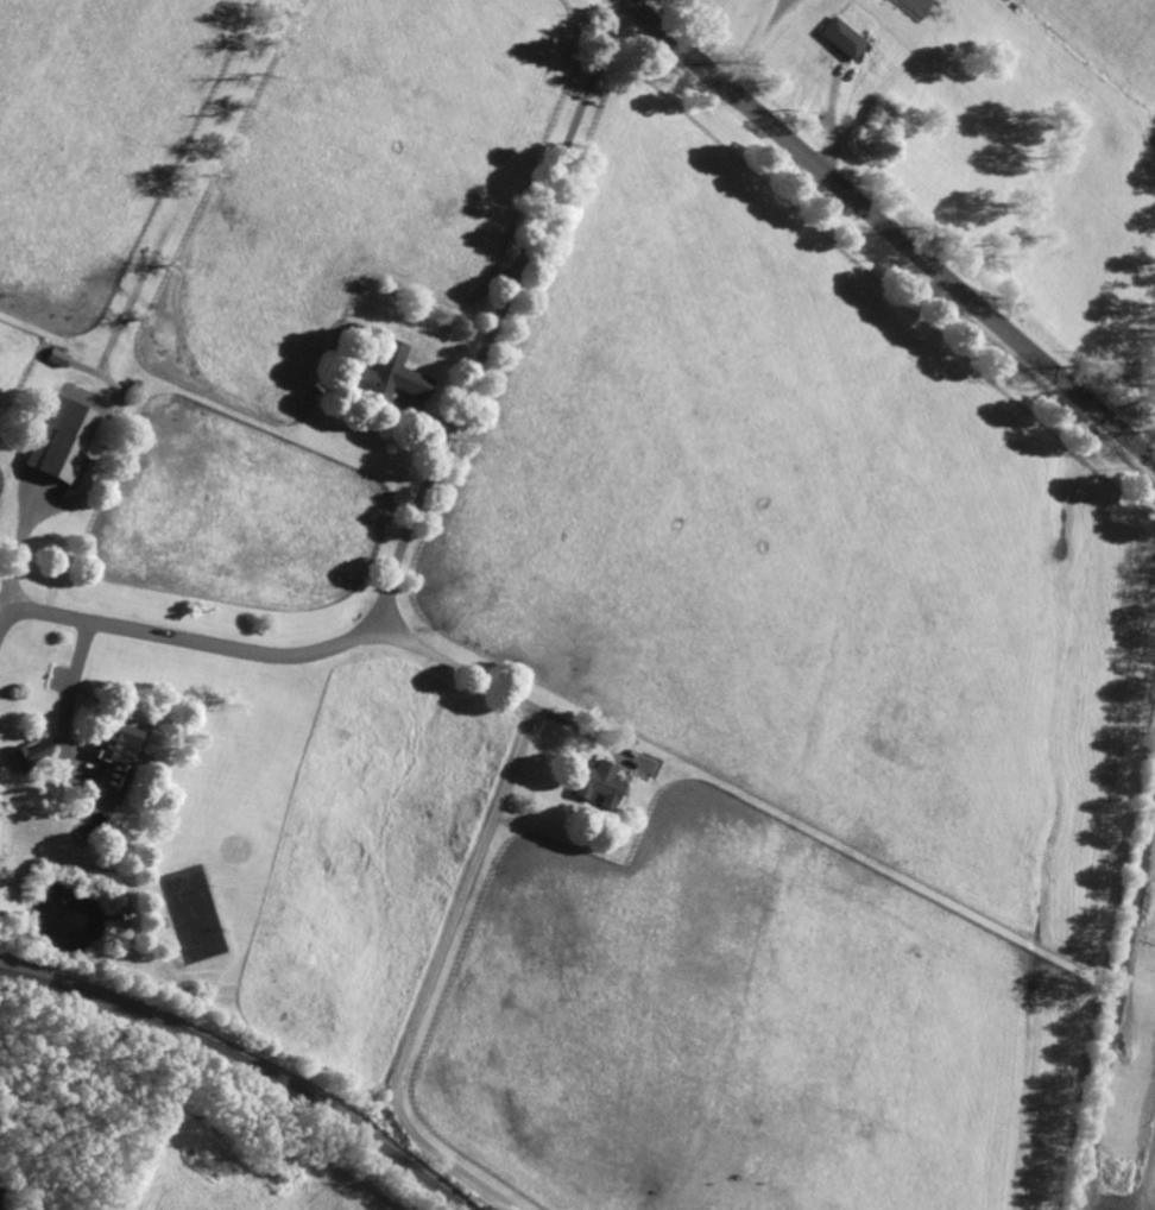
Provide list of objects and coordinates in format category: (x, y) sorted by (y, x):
building: (842, 36)
road: (758, 44)
road: (891, 229)
building: (356, 324)
building: (56, 355)
building: (385, 374)
building: (127, 376)
building: (133, 385)
building: (62, 441)
road: (427, 493)
road: (17, 552)
road: (70, 687)
road: (499, 689)
building: (30, 754)
building: (115, 757)
building: (645, 765)
building: (595, 783)
building: (126, 915)
road: (433, 981)
railway: (248, 1061)

